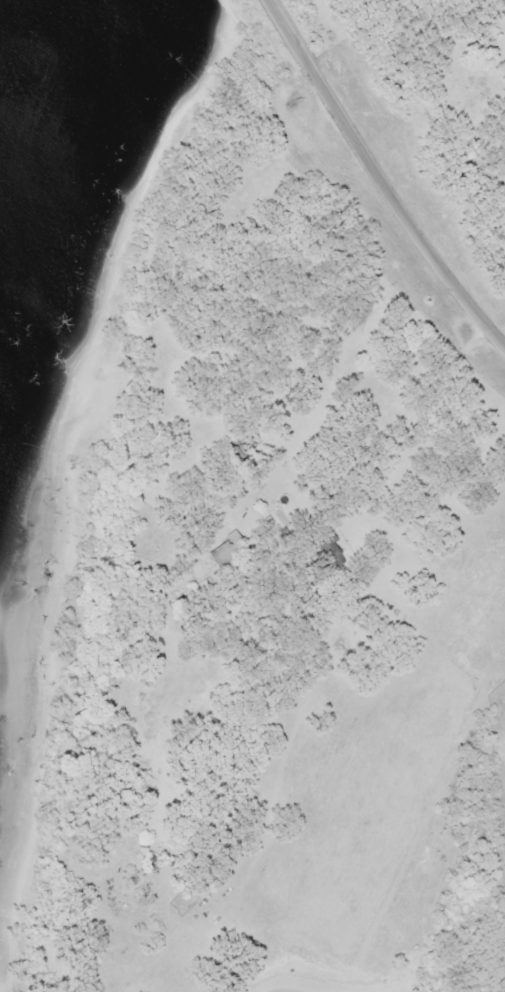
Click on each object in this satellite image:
river: (16, 49)
road: (379, 176)
building: (227, 550)
building: (326, 554)
road: (353, 591)
building: (152, 861)

